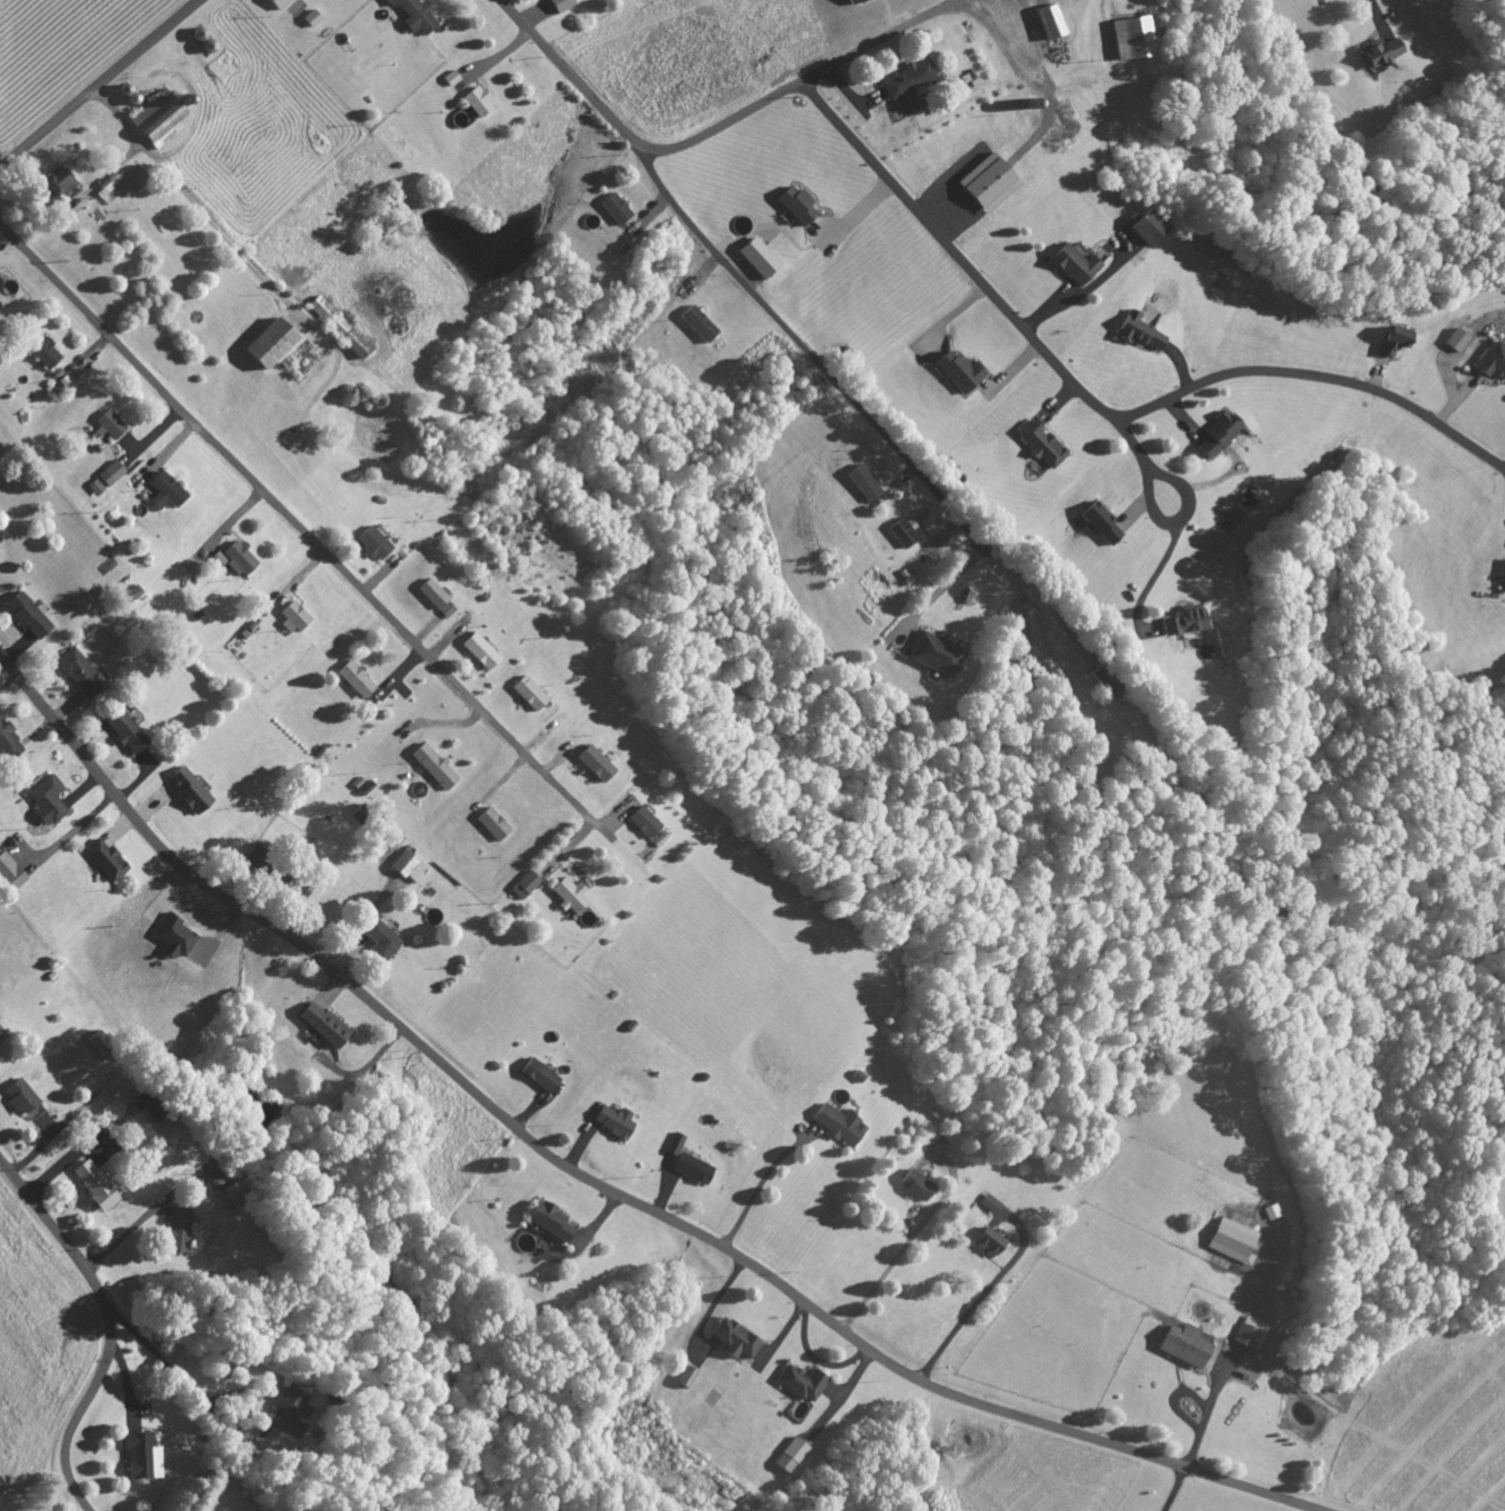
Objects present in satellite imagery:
building: (853, 1)
building: (279, 3)
building: (562, 4)
building: (414, 15)
building: (312, 17)
building: (1050, 20)
building: (1130, 37)
building: (1377, 51)
building: (910, 78)
building: (971, 79)
road: (100, 83)
building: (477, 100)
building: (156, 118)
road: (712, 131)
building: (122, 181)
building: (55, 182)
building: (989, 182)
building: (797, 204)
building: (615, 207)
building: (1147, 226)
building: (758, 256)
building: (1073, 263)
building: (697, 323)
building: (337, 326)
building: (1137, 331)
building: (1455, 339)
building: (1391, 340)
road: (799, 342)
building: (267, 343)
building: (46, 353)
building: (1492, 360)
building: (959, 370)
road: (1099, 404)
building: (111, 423)
building: (1216, 434)
road: (1129, 441)
building: (1039, 443)
road: (1503, 471)
building: (112, 473)
building: (864, 483)
building: (96, 488)
building: (166, 491)
road: (1158, 518)
building: (1101, 523)
road: (300, 527)
building: (904, 532)
building: (374, 542)
building: (234, 558)
road: (954, 576)
building: (134, 591)
building: (432, 593)
building: (447, 609)
building: (28, 614)
building: (292, 617)
building: (1183, 621)
building: (480, 650)
building: (933, 653)
building: (79, 671)
building: (355, 678)
building: (529, 692)
building: (125, 730)
building: (6, 738)
building: (594, 763)
building: (434, 765)
building: (190, 790)
building: (47, 800)
building: (644, 821)
building: (492, 823)
building: (105, 858)
building: (410, 866)
building: (10, 872)
building: (525, 884)
building: (568, 894)
building: (173, 937)
building: (378, 940)
building: (322, 1022)
building: (97, 1037)
building: (540, 1073)
building: (20, 1095)
building: (938, 1107)
building: (35, 1110)
building: (614, 1120)
building: (841, 1123)
building: (692, 1167)
building: (95, 1182)
road: (598, 1182)
building: (917, 1184)
building: (993, 1203)
building: (1270, 1210)
building: (548, 1219)
building: (178, 1228)
building: (1232, 1239)
building: (989, 1240)
road: (108, 1325)
building: (1250, 1332)
building: (735, 1338)
building: (1185, 1344)
building: (686, 1376)
building: (801, 1381)
building: (286, 1411)
building: (787, 1454)
building: (143, 1455)

